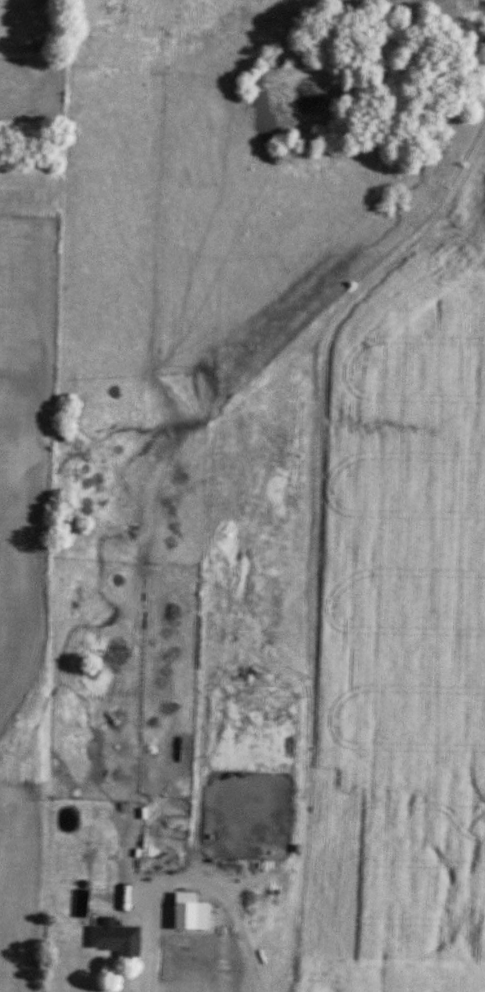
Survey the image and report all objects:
road: (190, 877)
building: (118, 941)

